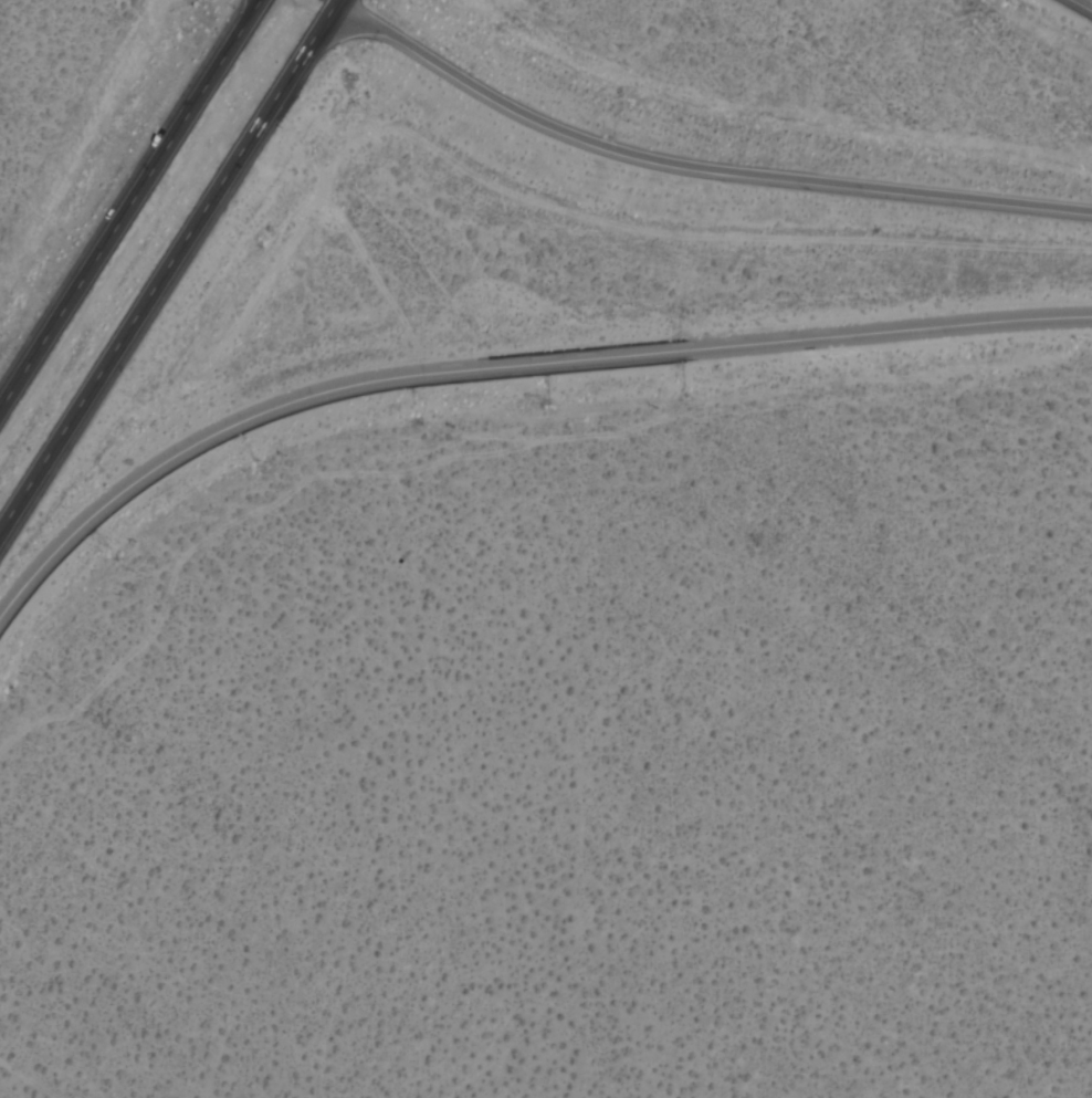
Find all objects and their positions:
road: (693, 166)
road: (125, 199)
road: (164, 261)
road: (505, 367)

